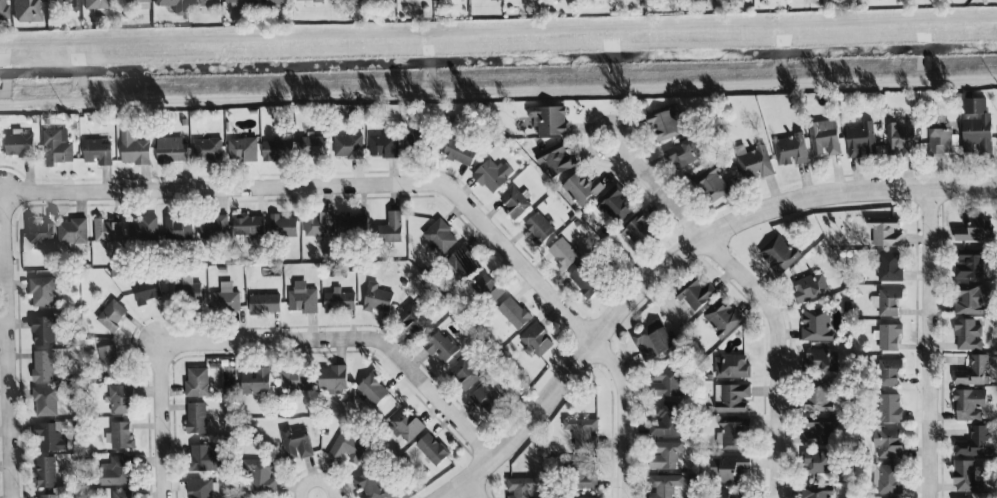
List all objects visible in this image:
building: (307, 0)
building: (354, 0)
building: (493, 0)
building: (273, 1)
building: (203, 2)
building: (238, 2)
building: (68, 4)
building: (132, 4)
building: (95, 5)
building: (3, 9)
building: (25, 11)
building: (178, 11)
road: (498, 31)
road: (498, 95)
building: (548, 119)
building: (665, 125)
building: (977, 127)
building: (824, 137)
building: (940, 139)
building: (860, 140)
building: (420, 141)
building: (900, 141)
building: (19, 144)
building: (312, 146)
building: (383, 146)
building: (57, 147)
building: (348, 147)
building: (134, 149)
building: (242, 149)
building: (171, 150)
building: (207, 150)
building: (277, 150)
building: (790, 150)
building: (97, 151)
building: (459, 152)
building: (683, 154)
building: (558, 161)
building: (753, 163)
road: (421, 172)
building: (492, 175)
building: (713, 185)
road: (662, 186)
road: (336, 187)
building: (582, 188)
building: (514, 202)
building: (352, 223)
building: (319, 224)
road: (9, 226)
building: (247, 226)
building: (282, 226)
building: (213, 227)
building: (391, 228)
building: (538, 228)
building: (143, 229)
building: (177, 229)
building: (974, 229)
building: (638, 230)
building: (73, 231)
building: (107, 231)
building: (885, 232)
building: (39, 235)
building: (439, 236)
building: (563, 254)
building: (779, 255)
road: (678, 258)
building: (463, 263)
building: (971, 266)
building: (889, 267)
building: (585, 282)
building: (809, 288)
building: (488, 289)
building: (42, 291)
building: (147, 291)
building: (188, 295)
building: (697, 295)
building: (377, 298)
building: (225, 299)
building: (302, 299)
building: (969, 299)
building: (339, 301)
building: (887, 301)
building: (264, 303)
building: (513, 313)
building: (111, 315)
building: (415, 318)
building: (722, 318)
road: (940, 323)
building: (816, 325)
road: (359, 328)
building: (43, 331)
building: (967, 335)
building: (889, 337)
building: (536, 340)
building: (651, 340)
road: (933, 343)
building: (441, 347)
road: (921, 349)
road: (783, 353)
building: (821, 360)
building: (108, 361)
building: (42, 366)
building: (731, 367)
building: (888, 372)
building: (973, 372)
building: (465, 373)
road: (12, 378)
building: (293, 379)
building: (332, 379)
building: (255, 380)
building: (197, 382)
building: (666, 383)
building: (372, 389)
building: (818, 396)
building: (485, 397)
building: (731, 398)
building: (120, 399)
building: (45, 402)
building: (969, 404)
building: (890, 408)
road: (165, 415)
road: (629, 416)
building: (196, 418)
building: (665, 421)
road: (610, 422)
building: (405, 425)
building: (819, 431)
building: (582, 433)
building: (733, 435)
building: (50, 436)
building: (120, 436)
building: (972, 442)
building: (295, 443)
building: (887, 443)
building: (347, 448)
building: (431, 449)
building: (664, 455)
building: (206, 459)
building: (820, 462)
building: (727, 468)
road: (315, 469)
building: (114, 471)
building: (45, 472)
building: (586, 474)
building: (261, 475)
building: (966, 476)
building: (887, 479)
road: (318, 480)
building: (370, 485)
building: (663, 485)
building: (522, 487)
building: (203, 488)
road: (462, 493)
building: (122, 494)
building: (816, 494)
building: (49, 496)
building: (730, 496)
building: (962, 497)

